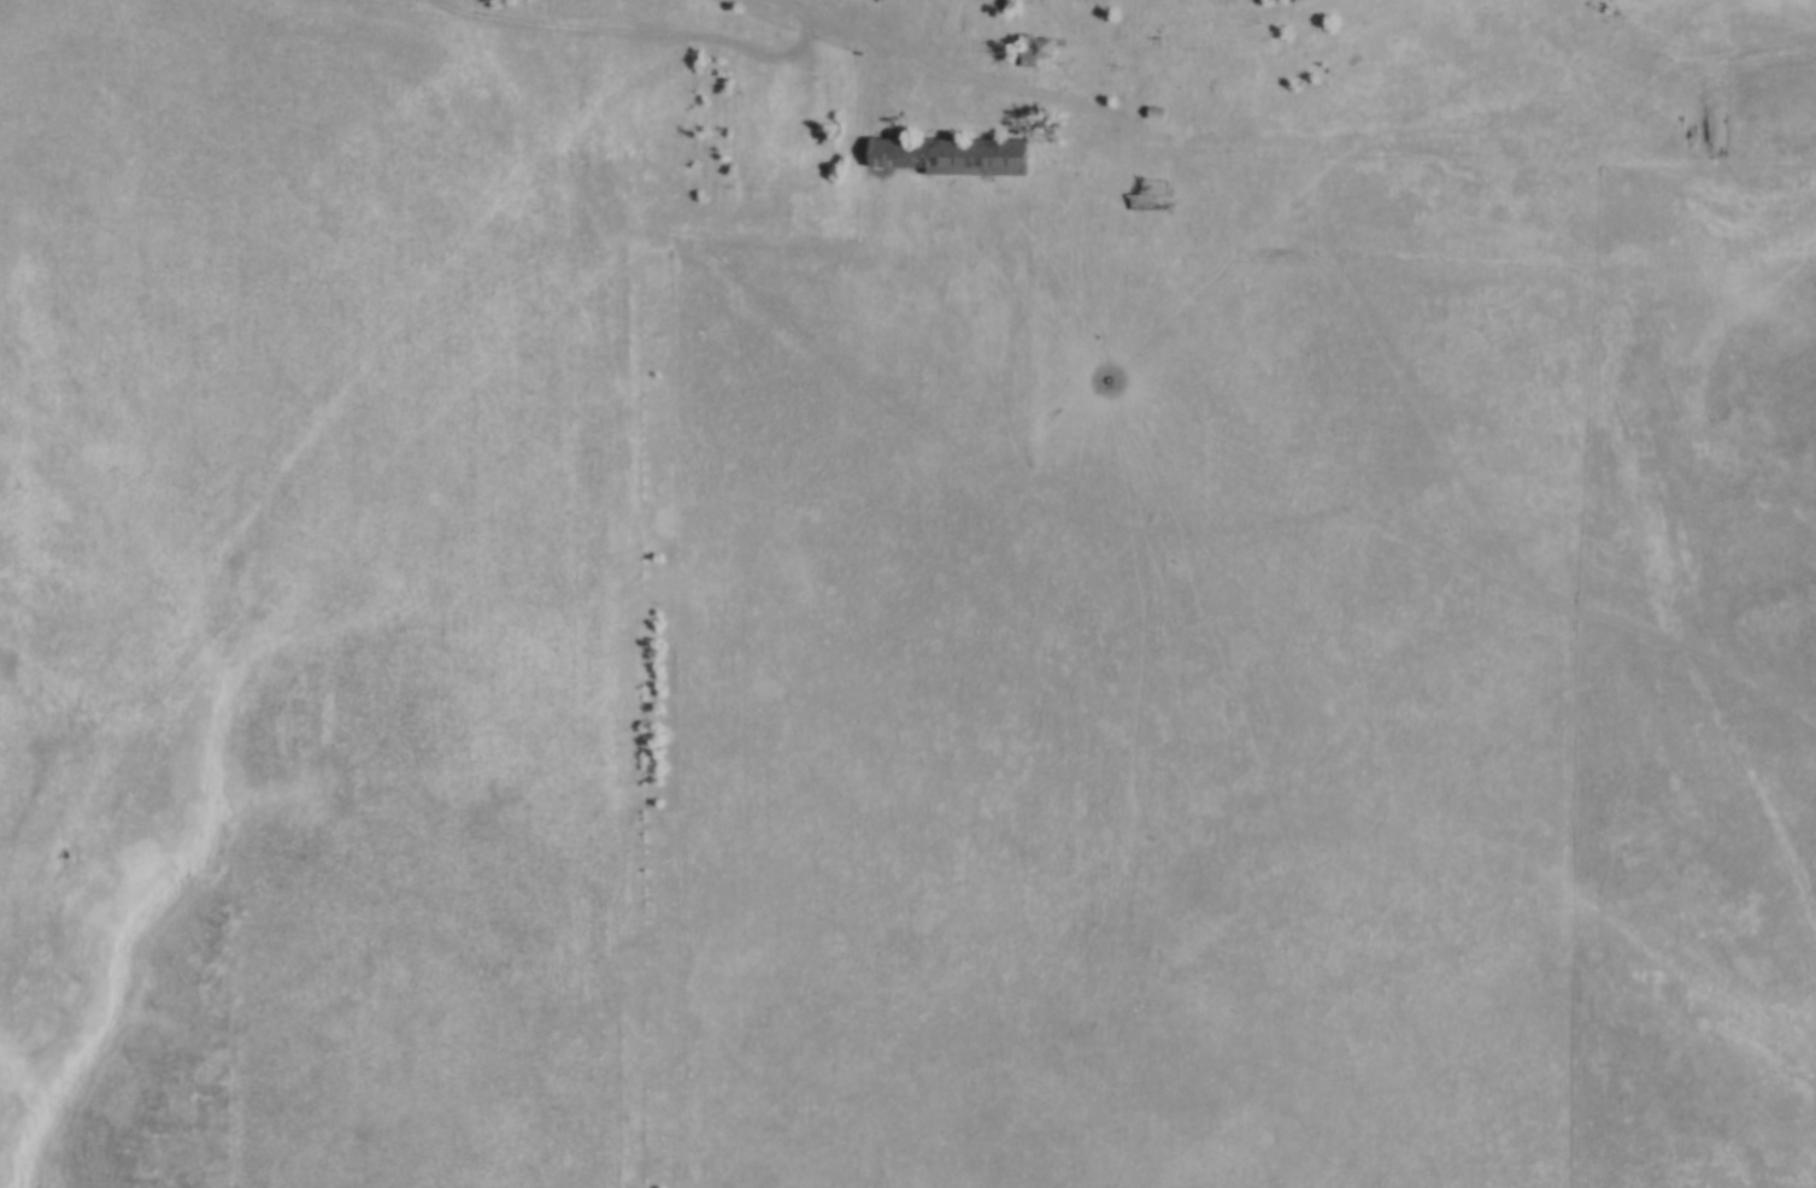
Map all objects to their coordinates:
building: (1035, 49)
road: (938, 63)
building: (1163, 111)
building: (957, 153)
building: (1151, 192)
road: (1618, 502)

